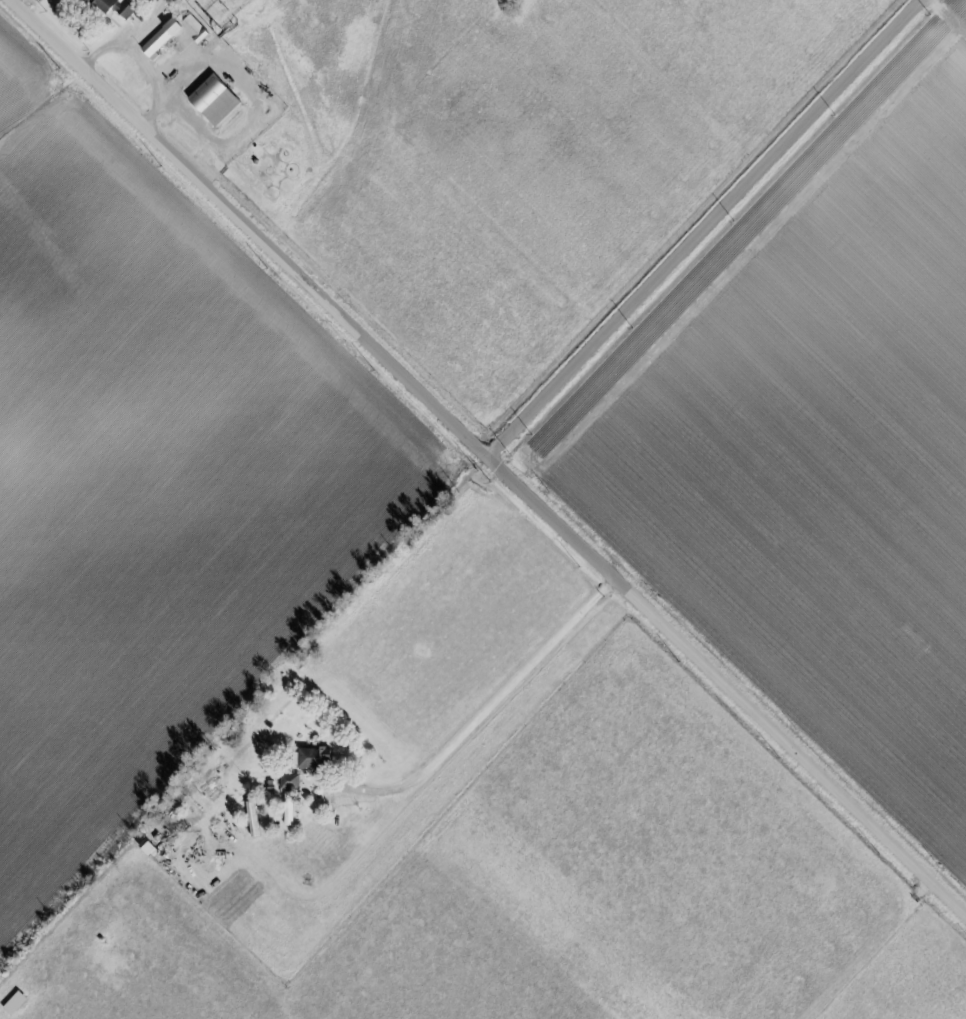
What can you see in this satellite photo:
building: (189, 0)
building: (115, 7)
building: (174, 35)
road: (128, 37)
road: (155, 79)
building: (214, 100)
road: (250, 108)
road: (705, 228)
road: (489, 457)
road: (470, 729)
building: (315, 757)
building: (289, 781)
building: (147, 847)

